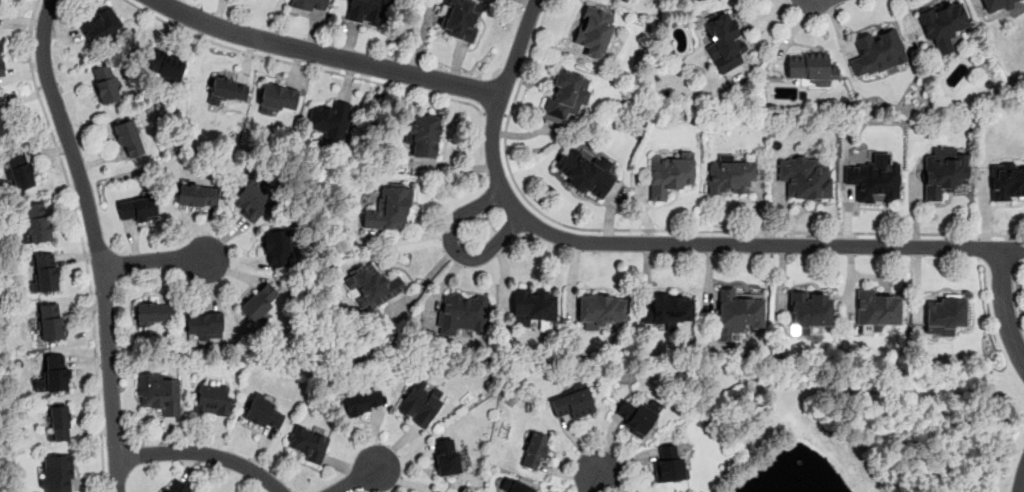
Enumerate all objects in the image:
building: (309, 4)
building: (998, 5)
building: (366, 11)
building: (459, 18)
building: (100, 25)
building: (943, 25)
building: (594, 32)
building: (724, 41)
building: (877, 52)
road: (326, 55)
building: (0, 59)
road: (301, 63)
building: (164, 64)
building: (809, 66)
building: (105, 83)
building: (228, 89)
building: (565, 95)
building: (276, 97)
road: (494, 113)
building: (329, 119)
building: (3, 121)
building: (423, 134)
building: (128, 138)
building: (19, 169)
building: (585, 172)
building: (944, 172)
building: (668, 173)
building: (729, 175)
building: (804, 176)
building: (874, 179)
building: (1007, 180)
building: (196, 194)
building: (251, 198)
building: (388, 207)
road: (513, 208)
building: (137, 209)
building: (37, 221)
road: (664, 229)
road: (580, 240)
road: (82, 241)
road: (96, 242)
building: (277, 247)
road: (1016, 248)
road: (158, 260)
building: (43, 271)
building: (371, 285)
road: (1017, 291)
building: (258, 301)
building: (533, 305)
building: (876, 308)
road: (1003, 308)
building: (668, 309)
building: (600, 310)
building: (809, 310)
building: (153, 311)
building: (461, 312)
building: (737, 313)
building: (943, 316)
building: (50, 321)
building: (204, 325)
building: (53, 373)
building: (158, 392)
building: (213, 399)
building: (362, 401)
building: (572, 401)
building: (420, 402)
building: (263, 412)
building: (636, 415)
building: (58, 423)
building: (308, 442)
building: (534, 450)
road: (202, 453)
building: (446, 457)
building: (669, 465)
building: (56, 473)
road: (357, 479)
road: (594, 479)
road: (1021, 479)
building: (515, 485)
building: (175, 486)
building: (434, 490)
building: (646, 491)

